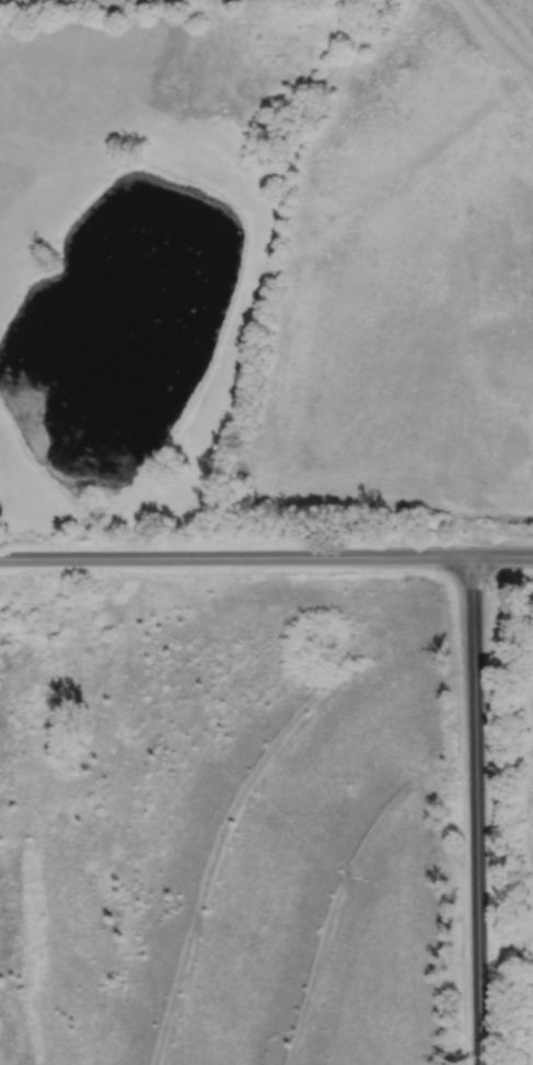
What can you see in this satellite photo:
road: (498, 36)
park: (376, 255)
road: (266, 556)
road: (476, 810)

